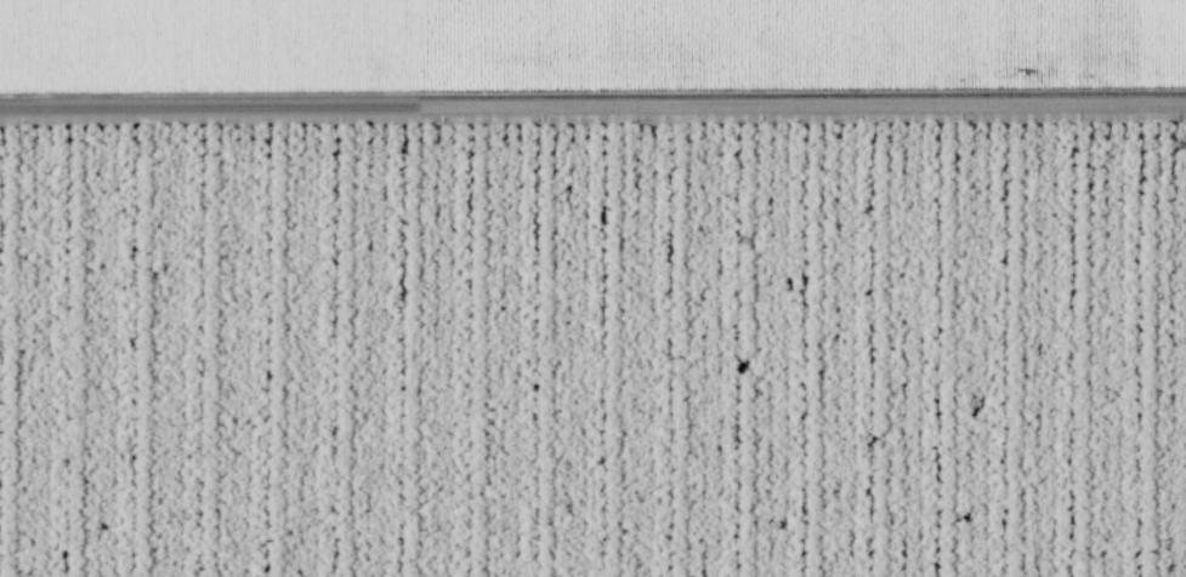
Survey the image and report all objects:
crop: (591, 74)
road: (592, 116)

